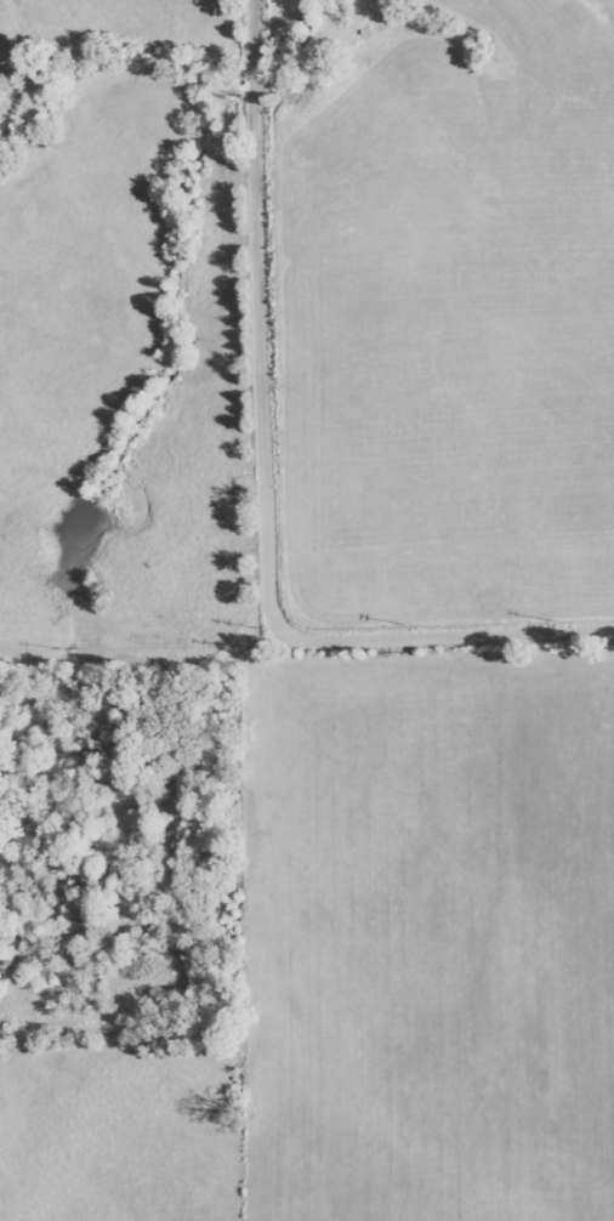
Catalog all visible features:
road: (266, 482)

